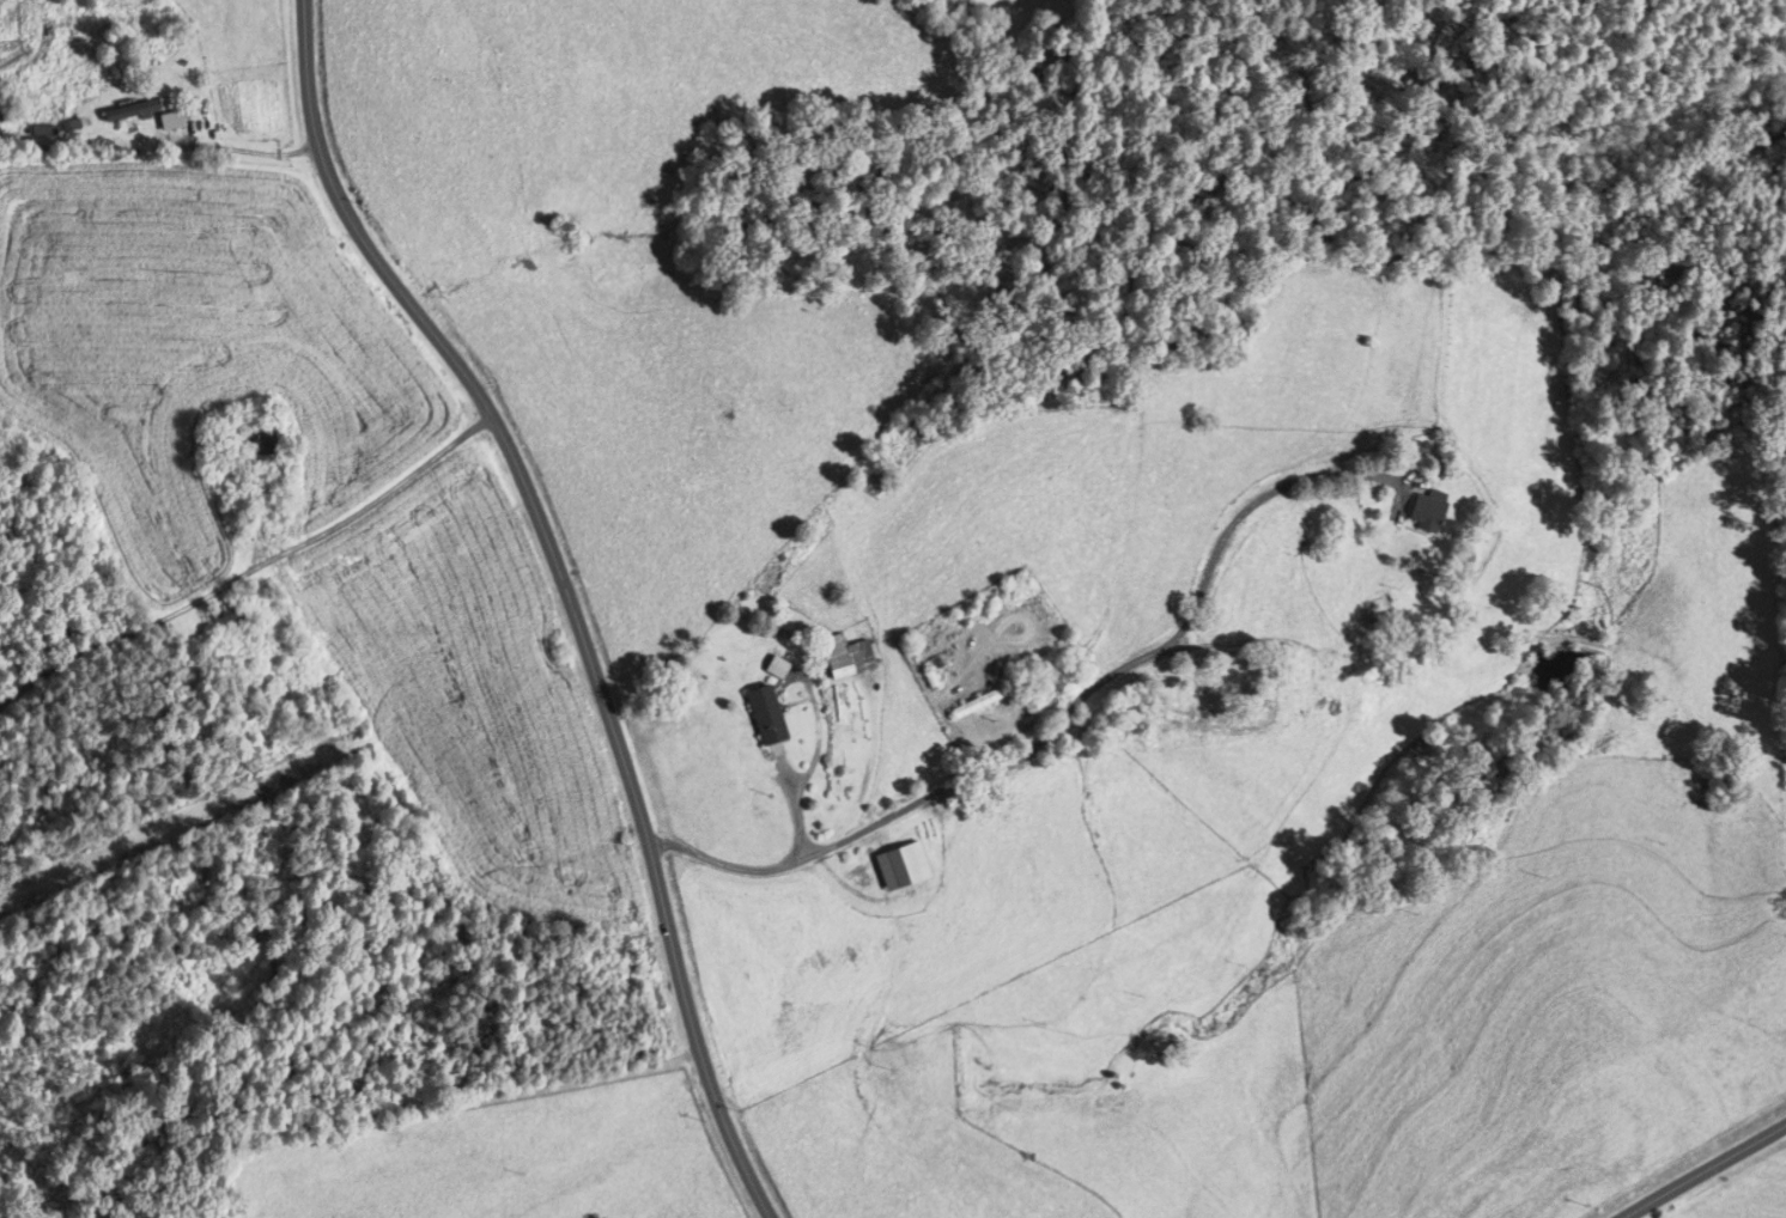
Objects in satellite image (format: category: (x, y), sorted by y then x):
building: (122, 114)
building: (163, 122)
building: (1422, 511)
road: (243, 572)
road: (559, 591)
building: (219, 617)
building: (842, 656)
building: (1214, 678)
building: (971, 704)
building: (759, 714)
road: (1061, 723)
building: (897, 866)
road: (1703, 1169)

